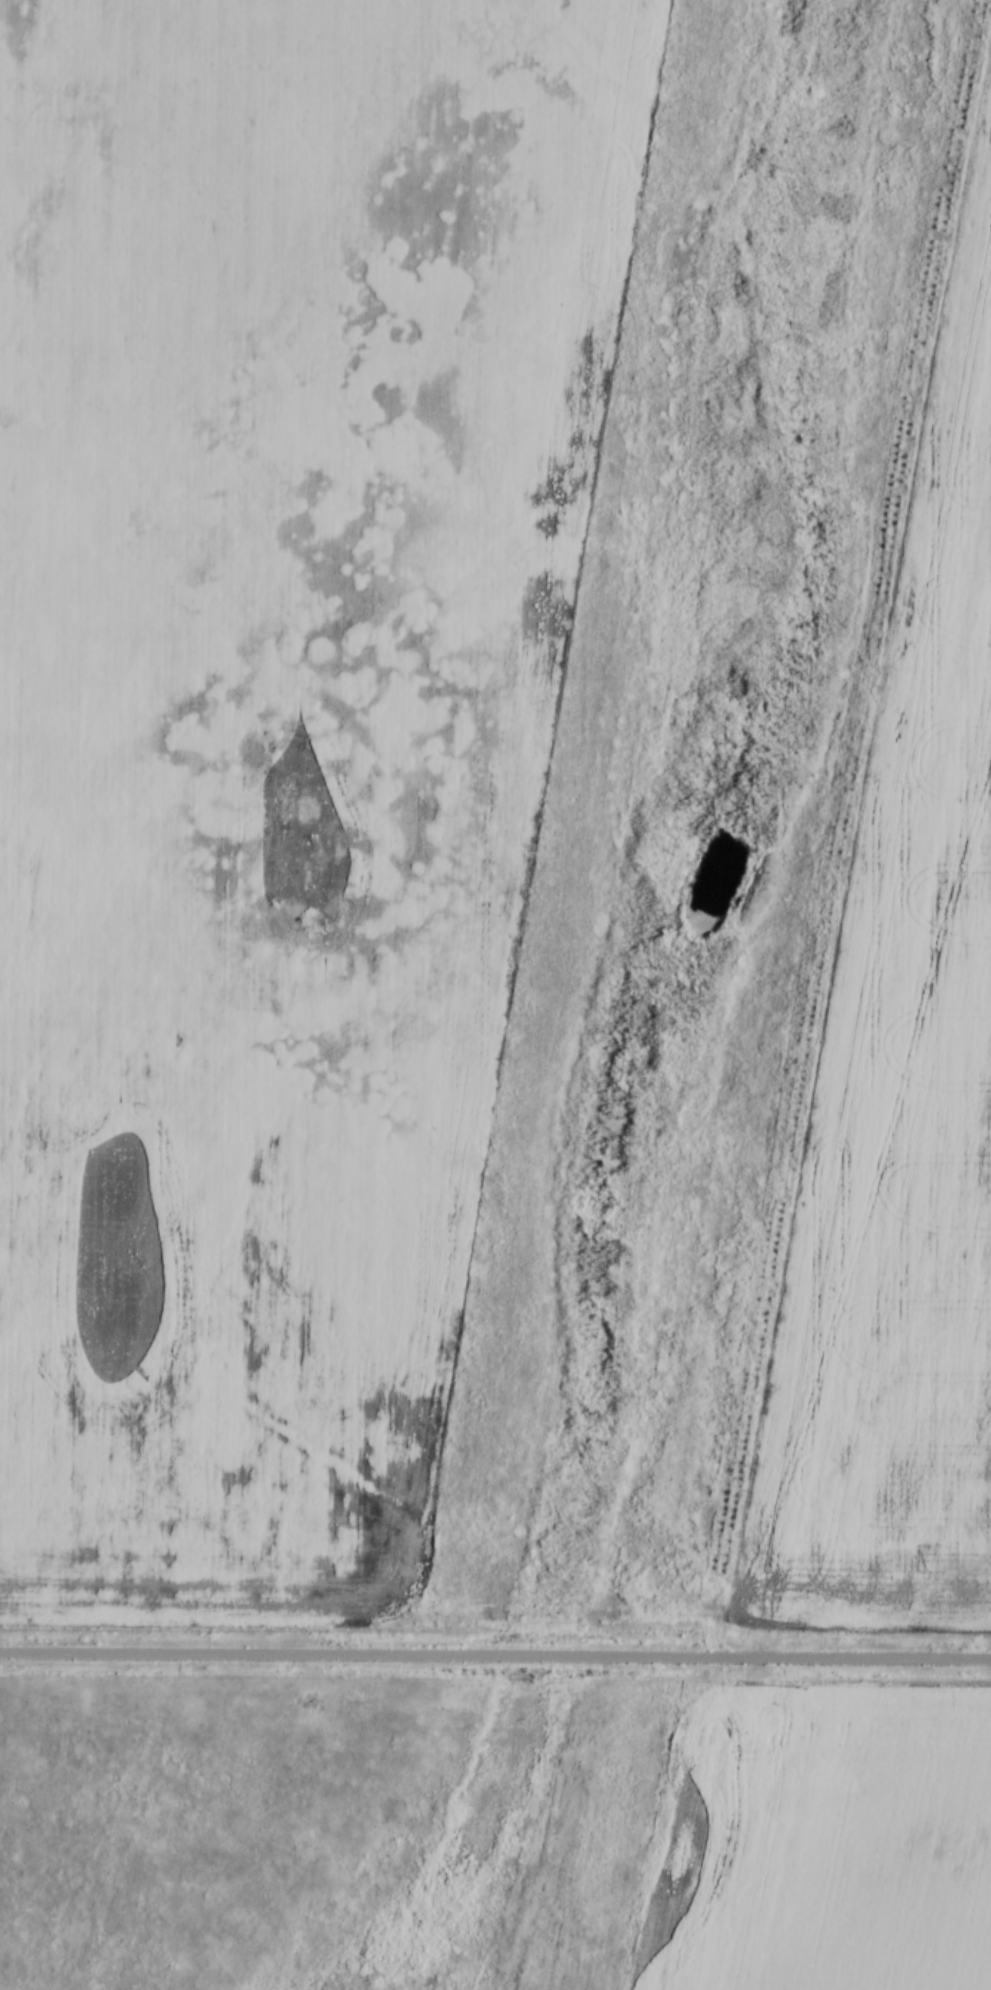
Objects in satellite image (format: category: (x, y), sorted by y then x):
road: (495, 1652)

